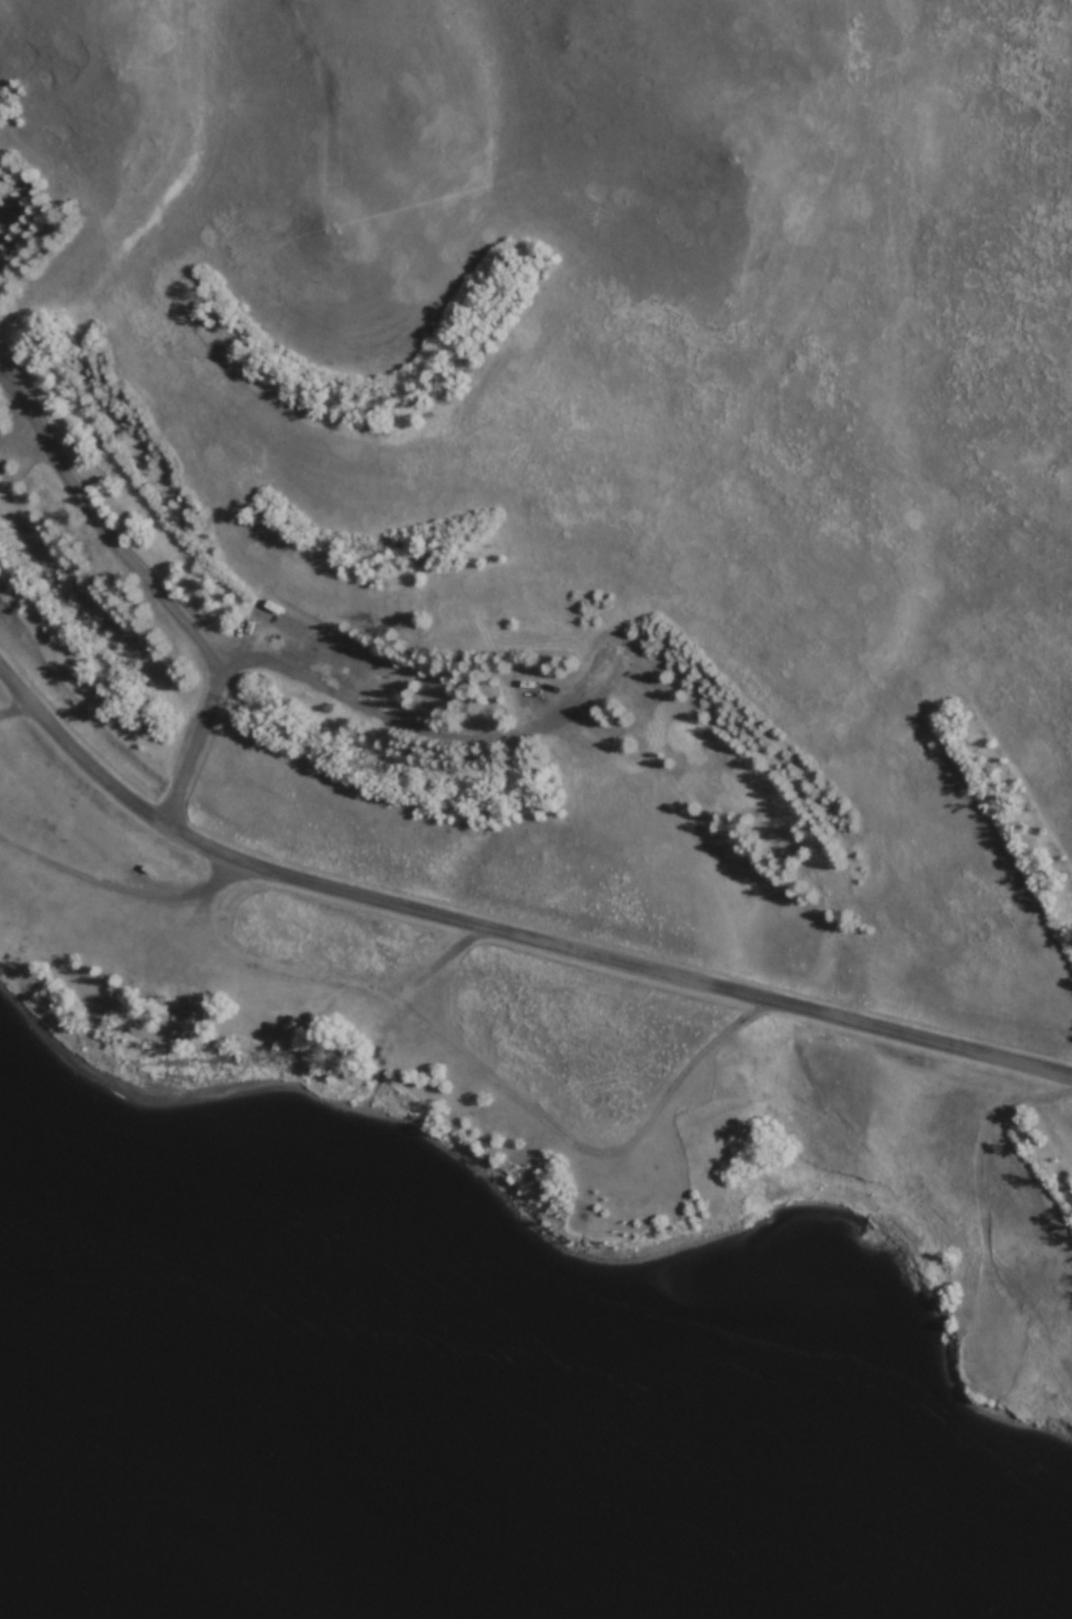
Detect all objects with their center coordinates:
road: (839, 202)
road: (155, 588)
road: (377, 717)
road: (503, 930)
road: (664, 1130)
road: (868, 1140)
road: (982, 1219)

